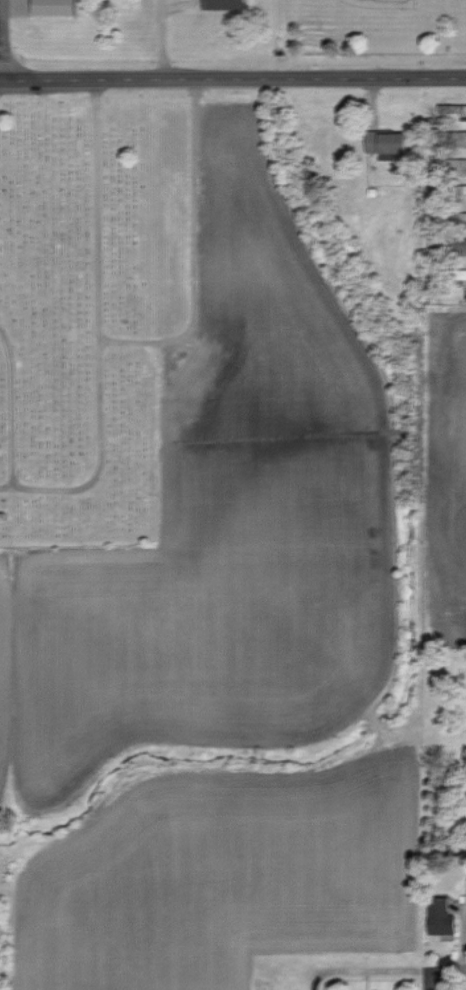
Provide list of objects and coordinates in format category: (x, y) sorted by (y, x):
building: (220, 4)
building: (49, 7)
park: (371, 27)
road: (162, 39)
road: (2, 40)
road: (234, 79)
road: (1, 81)
building: (450, 108)
building: (456, 136)
building: (382, 141)
building: (450, 163)
building: (459, 193)
building: (461, 216)
building: (456, 243)
building: (456, 273)
park: (79, 322)
building: (465, 887)
building: (437, 917)
road: (402, 969)
road: (429, 979)

